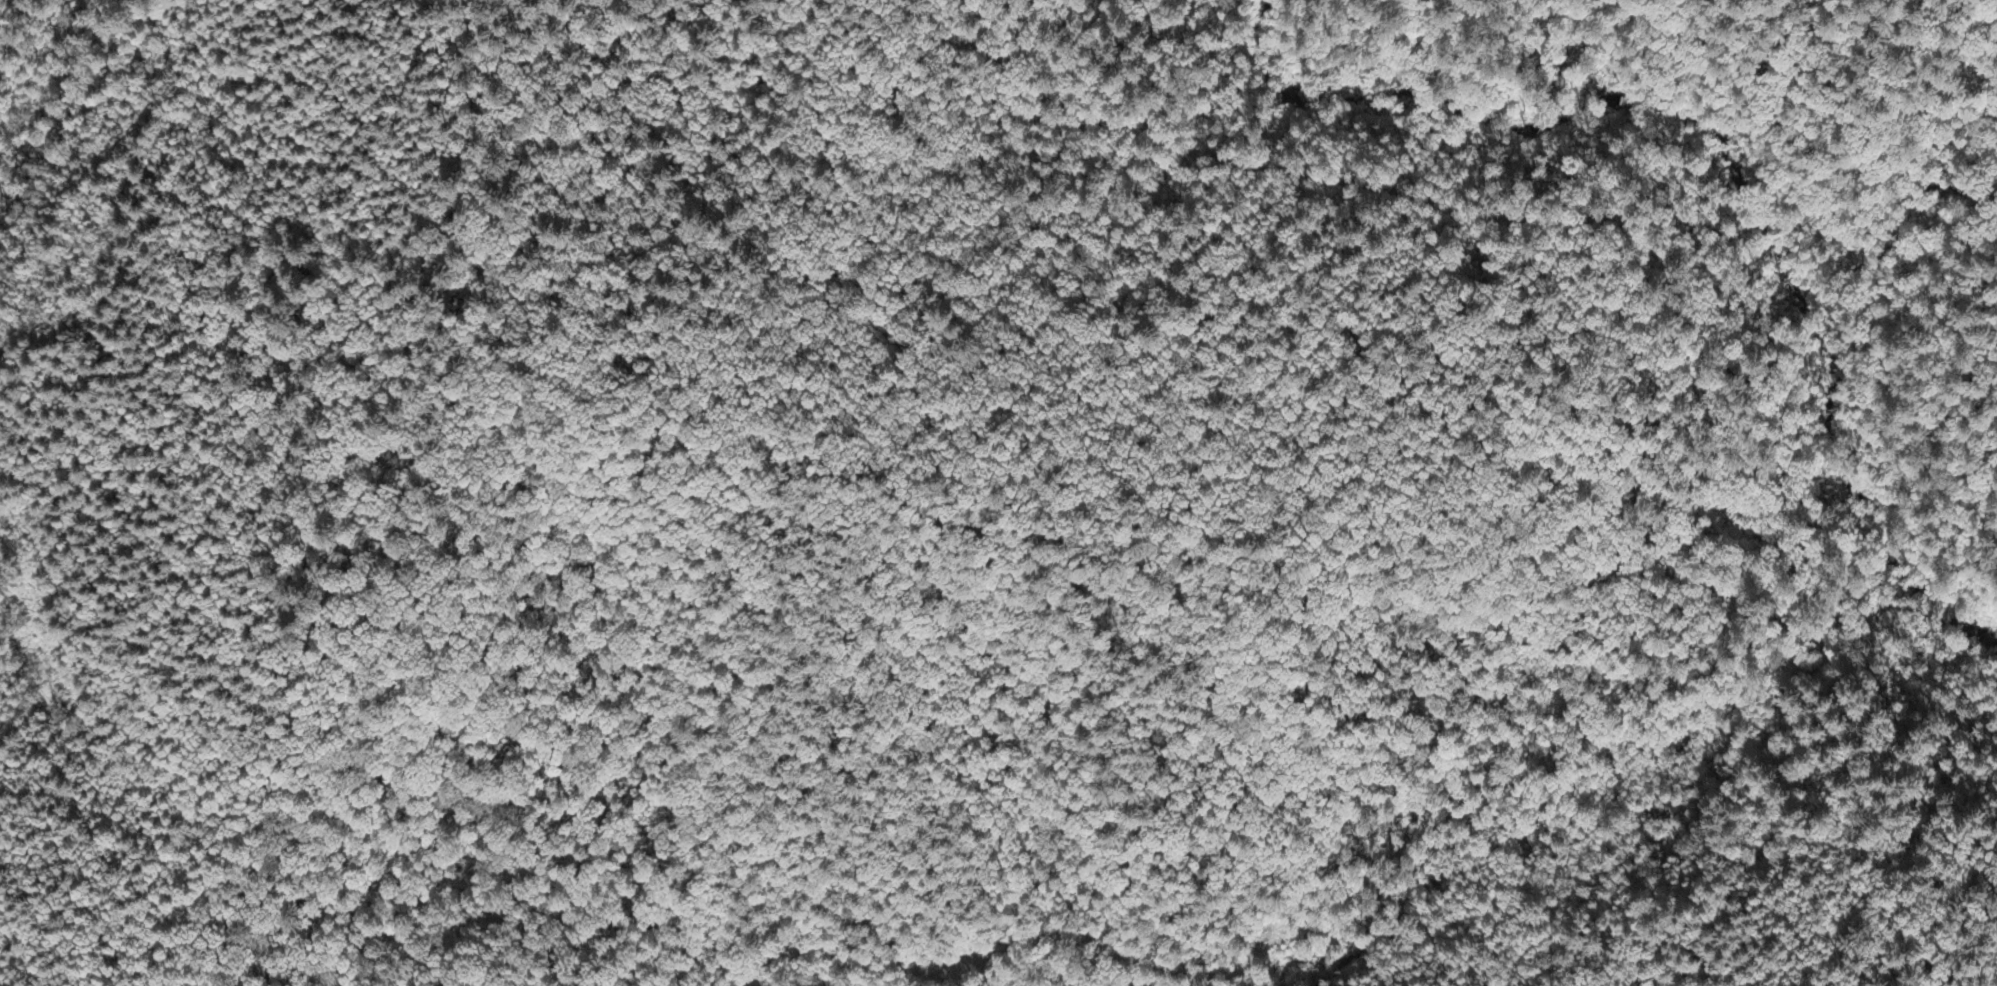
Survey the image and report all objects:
road: (1686, 598)

